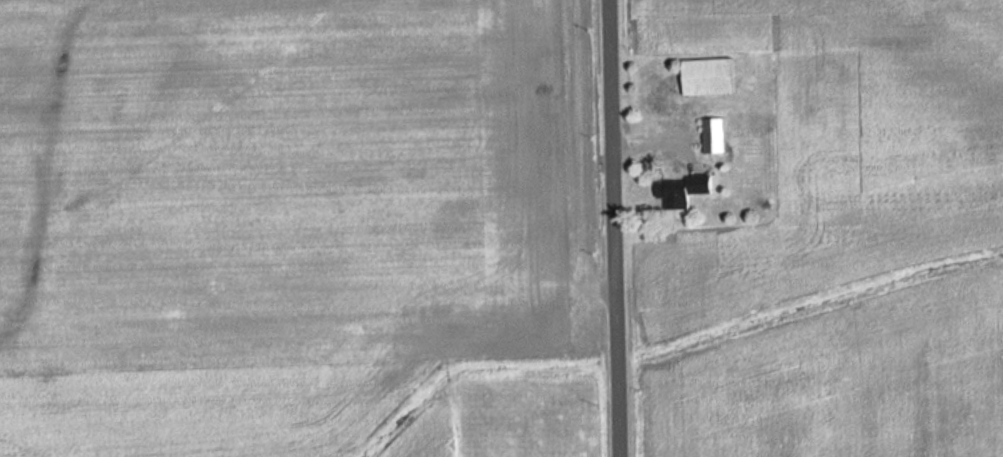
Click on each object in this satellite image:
building: (709, 76)
building: (713, 135)
building: (682, 190)
road: (615, 228)

